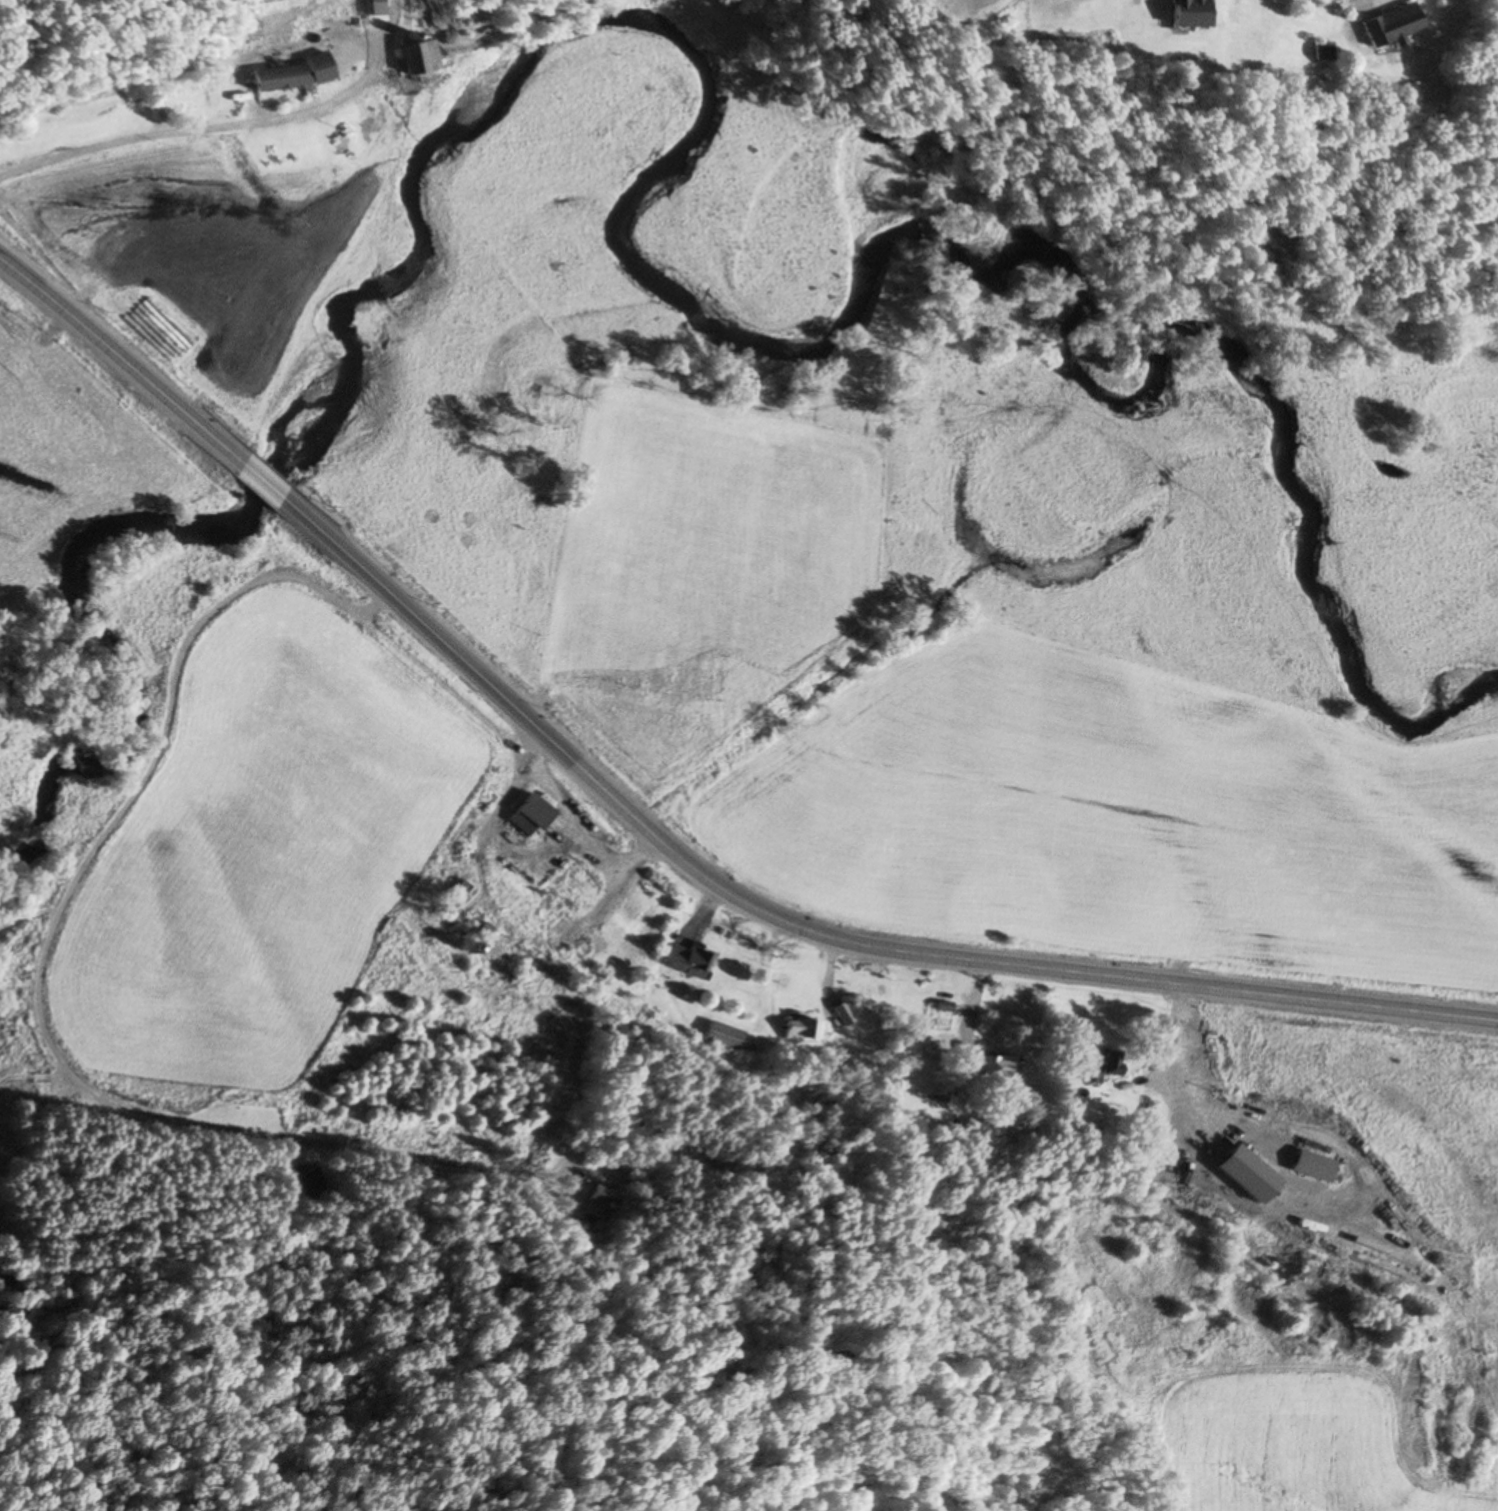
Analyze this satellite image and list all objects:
building: (369, 8)
building: (1180, 13)
building: (1385, 25)
building: (411, 57)
building: (272, 77)
building: (202, 101)
road: (134, 148)
road: (121, 359)
road: (257, 480)
road: (538, 729)
building: (528, 816)
building: (453, 897)
building: (687, 959)
road: (38, 972)
road: (1155, 985)
building: (940, 1008)
building: (841, 1015)
building: (800, 1030)
building: (722, 1037)
building: (1095, 1067)
building: (994, 1068)
building: (1308, 1167)
building: (316, 1185)
building: (596, 1204)

